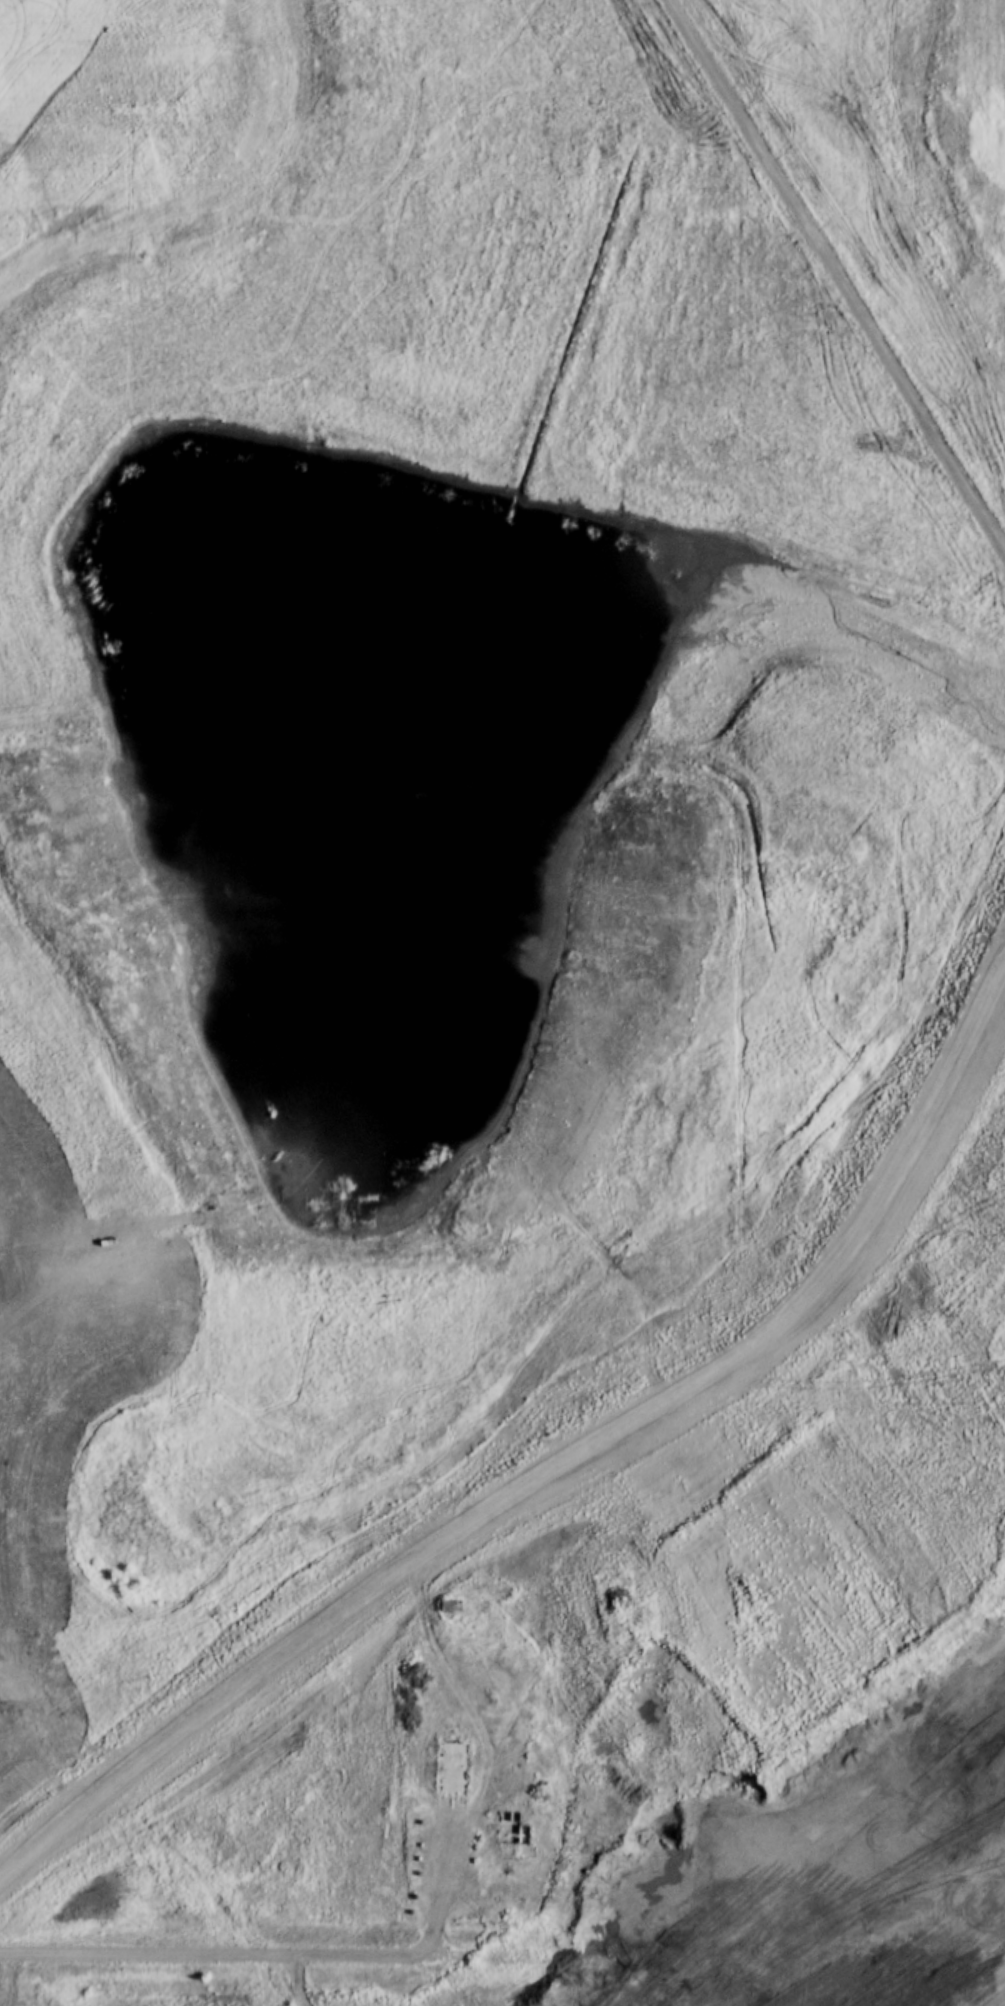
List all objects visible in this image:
building: (447, 1606)
building: (454, 1767)
building: (516, 1831)
road: (441, 1885)
road: (502, 1952)

